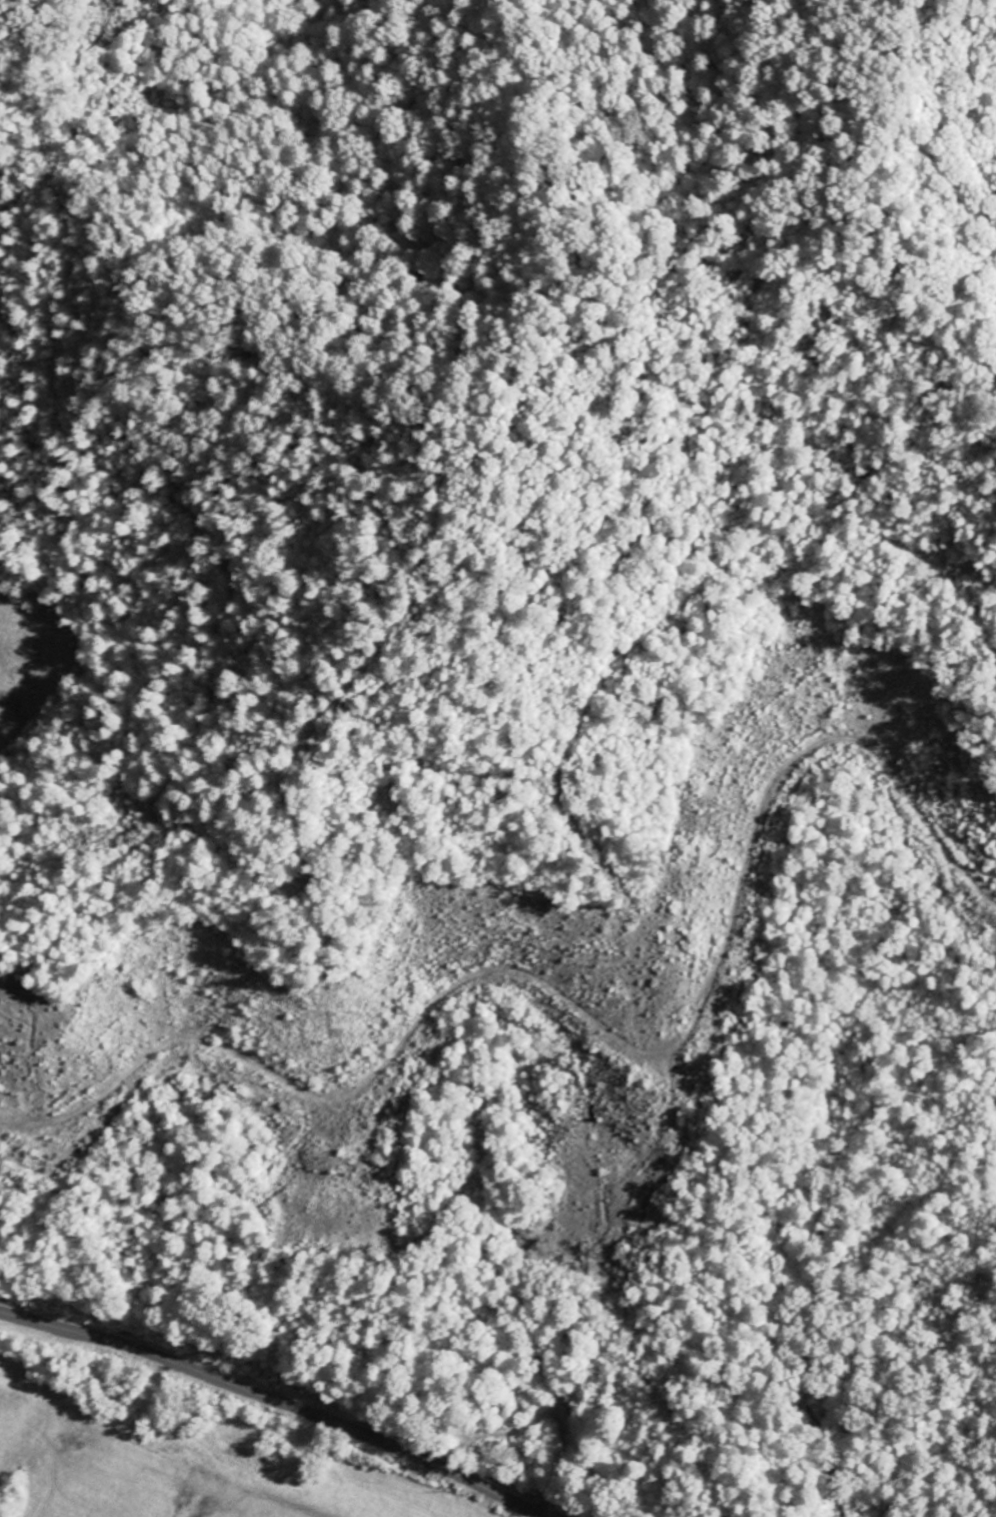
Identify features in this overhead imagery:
road: (274, 1400)

